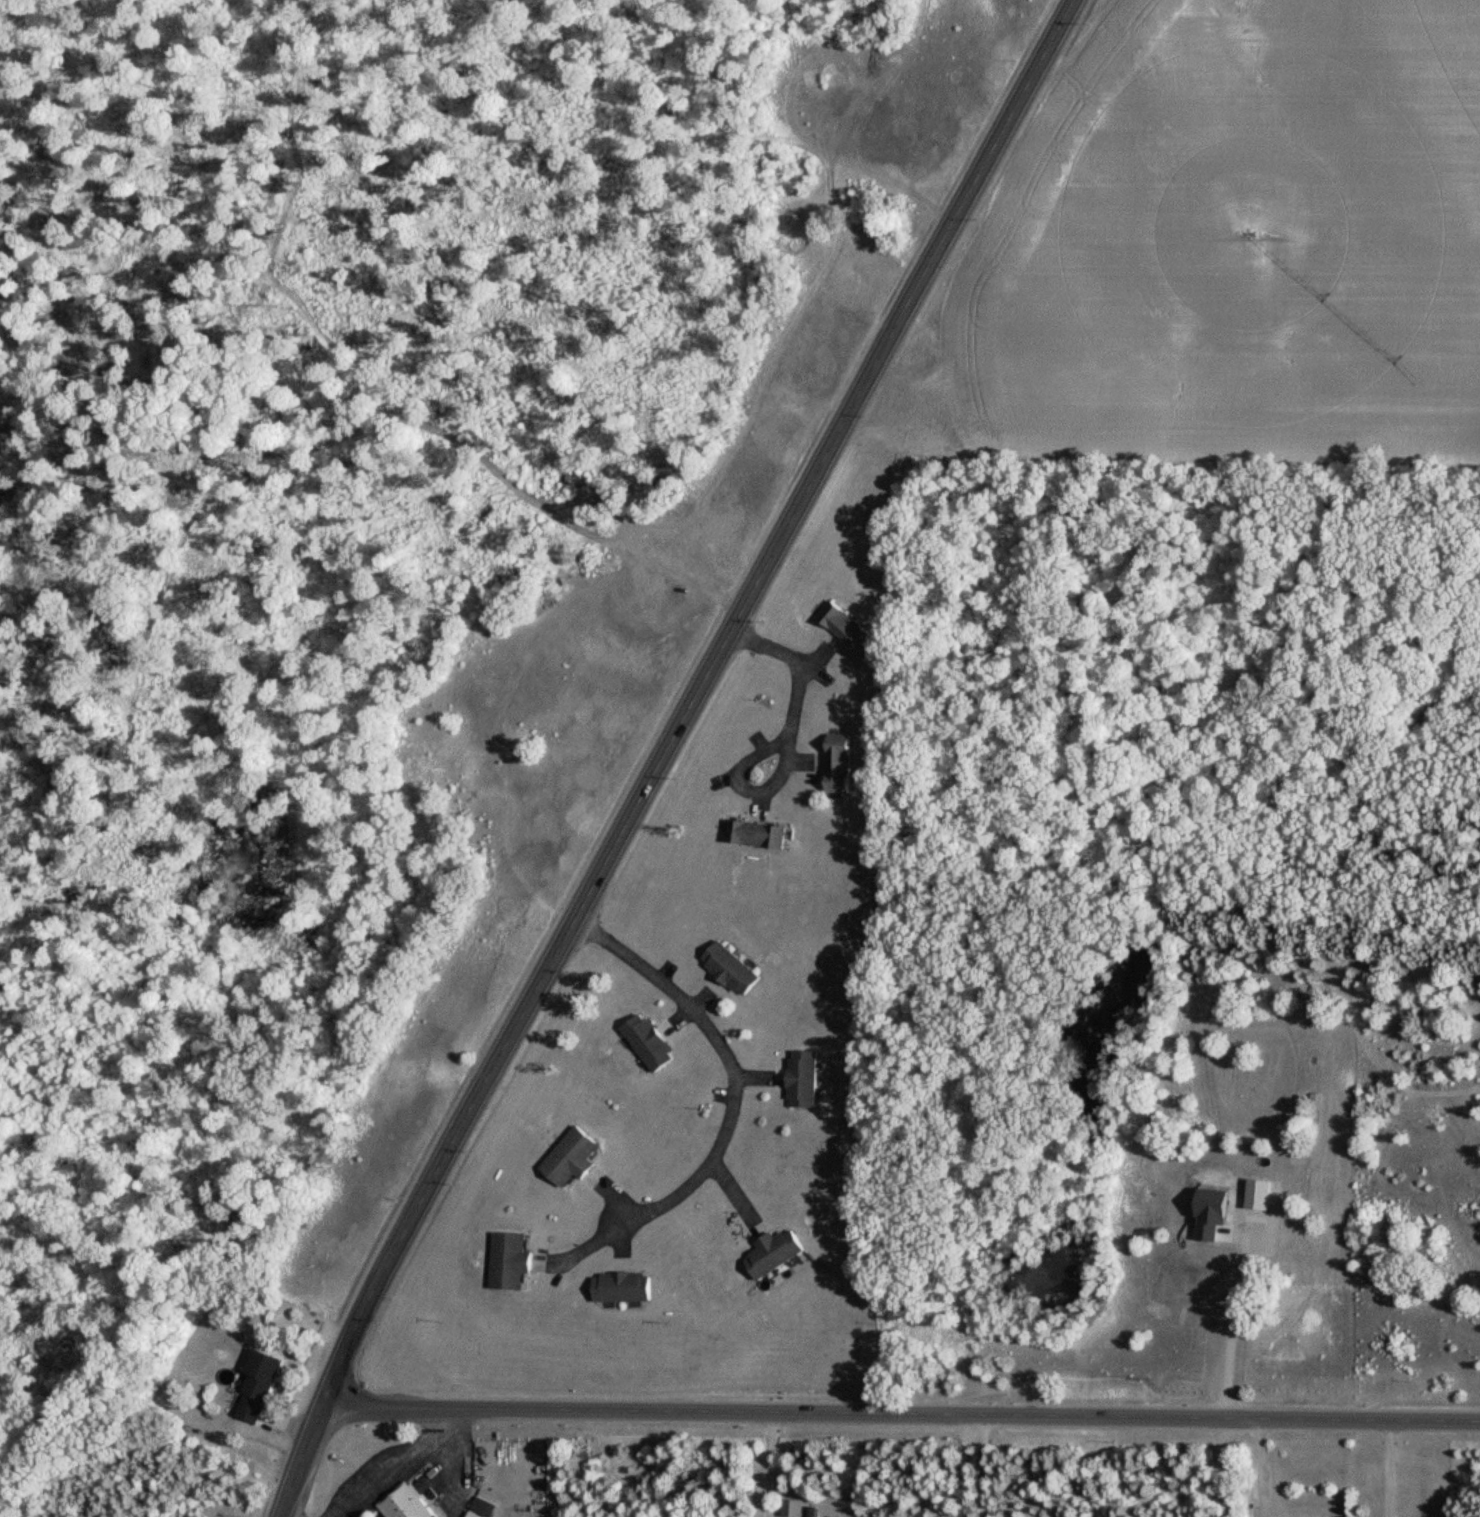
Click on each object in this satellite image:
building: (845, 628)
road: (690, 698)
road: (788, 737)
building: (838, 769)
building: (755, 835)
building: (728, 970)
building: (647, 1043)
road: (728, 1066)
building: (801, 1080)
building: (569, 1158)
building: (774, 1254)
building: (509, 1262)
building: (621, 1288)
road: (1230, 1330)
building: (257, 1388)
road: (901, 1415)
road: (391, 1459)
road: (303, 1461)
road: (769, 1465)
road: (970, 1466)
road: (985, 1466)
road: (1224, 1467)
road: (1262, 1468)
road: (1390, 1469)
building: (405, 1504)
building: (793, 1509)

